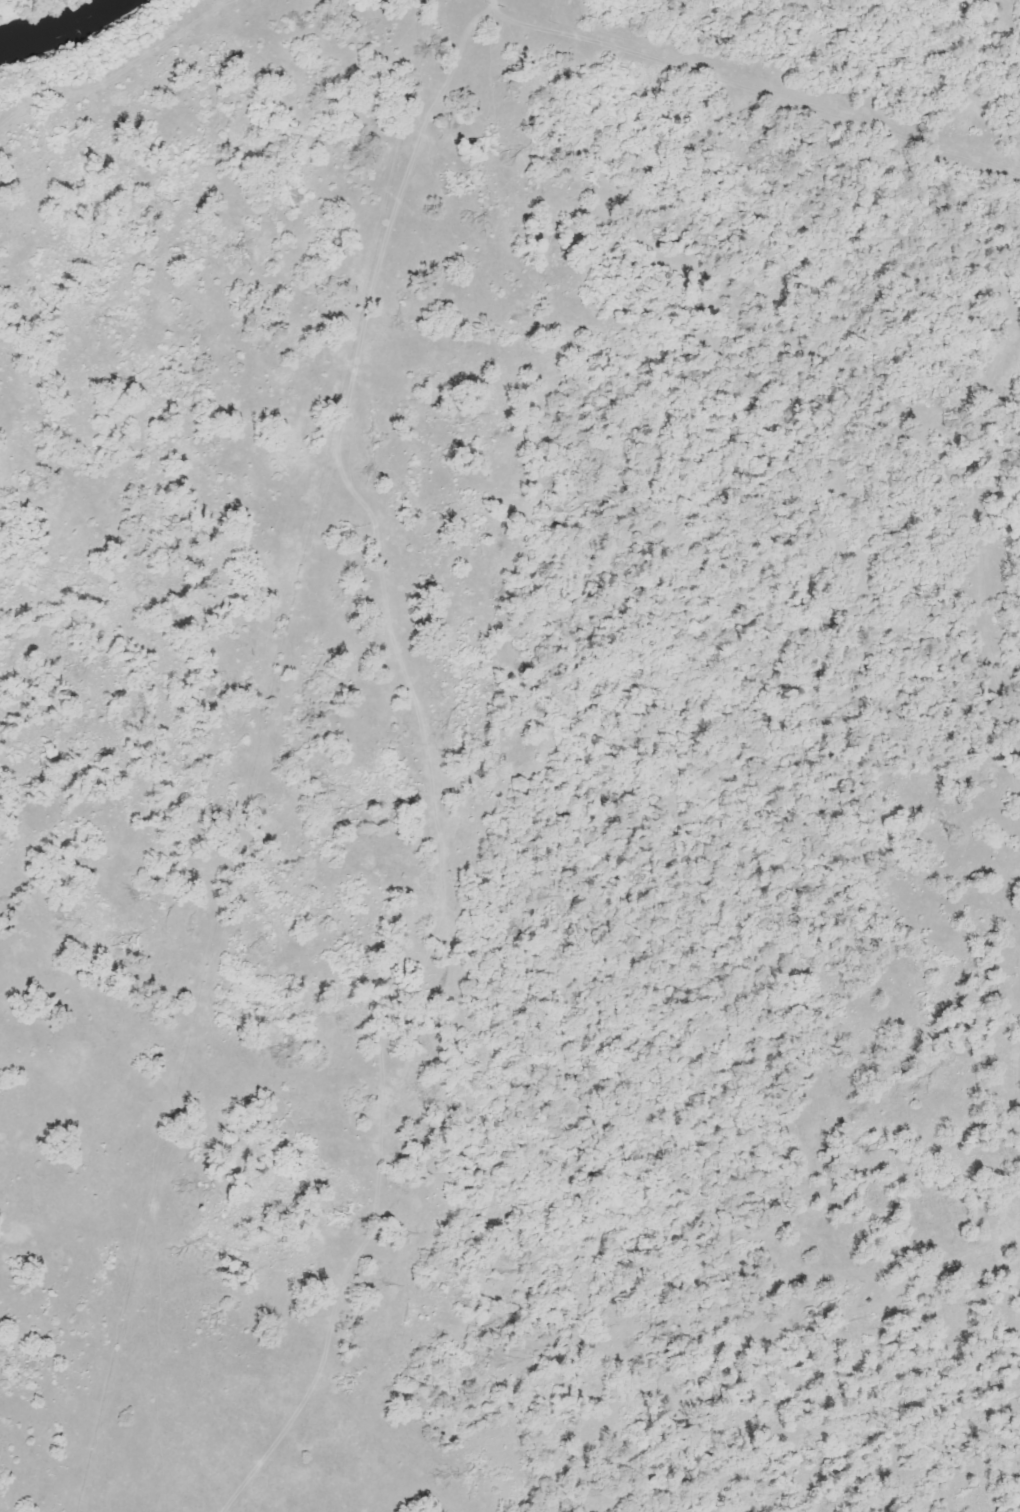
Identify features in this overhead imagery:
river: (39, 13)
road: (440, 756)

